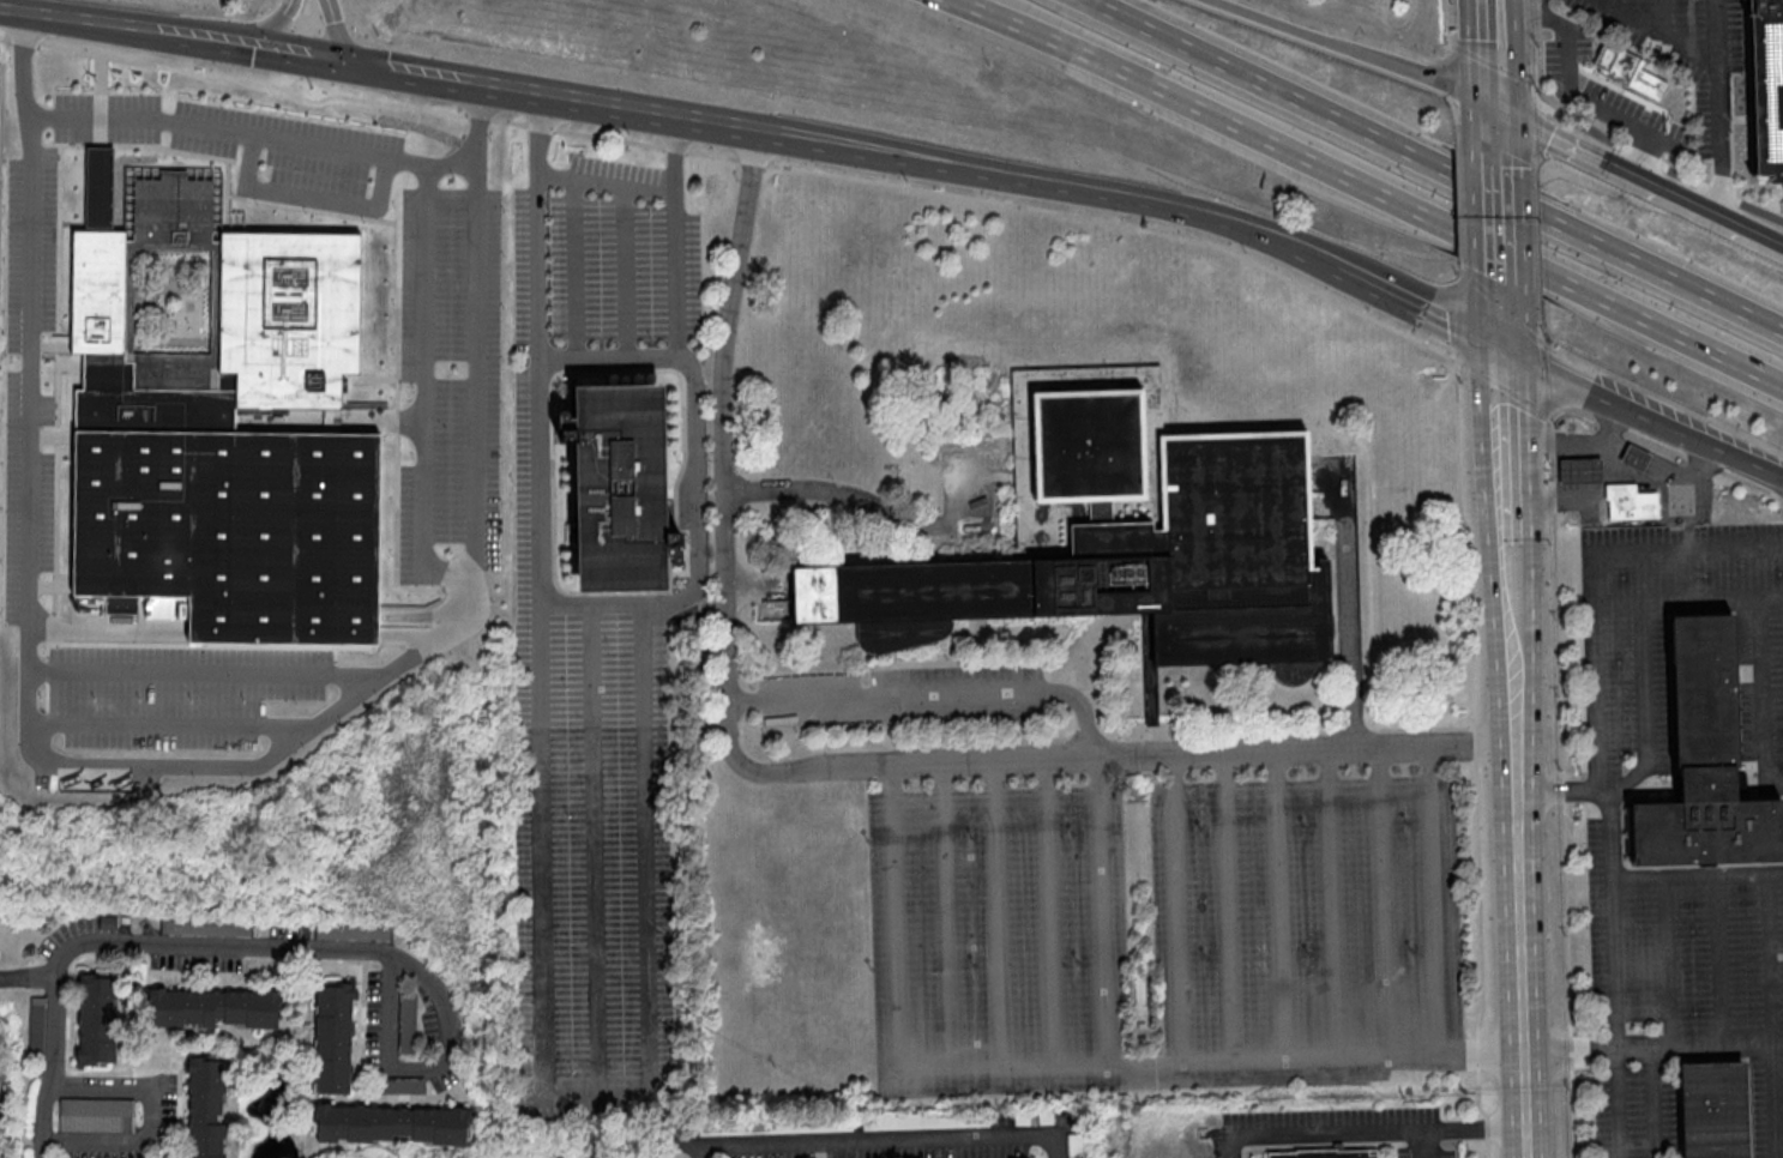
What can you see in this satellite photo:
road: (1609, 2)
road: (1494, 7)
road: (1662, 17)
road: (281, 29)
road: (1659, 32)
road: (132, 36)
road: (336, 36)
road: (1353, 50)
road: (1496, 56)
traffic signals: (264, 59)
road: (305, 65)
building: (1619, 65)
traffic signals: (347, 72)
road: (1571, 78)
road: (399, 79)
building: (1766, 89)
traffic signals: (1498, 98)
road: (1722, 105)
road: (607, 108)
road: (1498, 127)
road: (1561, 133)
road: (265, 147)
road: (114, 149)
road: (1643, 150)
parking lot: (258, 156)
road: (1436, 164)
road: (607, 180)
road: (1659, 180)
road: (1050, 185)
road: (1365, 189)
road: (324, 211)
road: (1736, 217)
road: (1500, 231)
road: (1417, 304)
road: (1501, 327)
traffic signals: (1502, 348)
road: (610, 357)
parking lot: (464, 399)
parking lot: (48, 405)
road: (439, 405)
road: (1642, 414)
building: (562, 416)
road: (1506, 439)
building: (239, 451)
building: (1637, 459)
building: (1583, 474)
road: (875, 503)
building: (1632, 503)
building: (630, 535)
building: (1125, 536)
road: (1589, 574)
road: (1686, 601)
road: (1349, 610)
parking lot: (602, 619)
road: (1514, 635)
road: (212, 687)
road: (933, 690)
road: (1761, 699)
road: (1646, 714)
road: (182, 738)
road: (1475, 753)
building: (1705, 762)
road: (1519, 766)
road: (811, 771)
road: (185, 777)
road: (1558, 789)
road: (1564, 790)
road: (1698, 876)
road: (1434, 899)
road: (1175, 907)
road: (1102, 910)
road: (1049, 911)
road: (996, 912)
road: (948, 915)
parking lot: (1165, 933)
road: (120, 943)
road: (1722, 960)
road: (1667, 963)
road: (1523, 973)
road: (1616, 973)
road: (26, 977)
building: (1142, 985)
building: (215, 1007)
road: (1775, 1015)
building: (97, 1019)
building: (333, 1037)
road: (1654, 1048)
road: (1067, 1062)
road: (429, 1064)
road: (613, 1093)
road: (1654, 1103)
building: (207, 1106)
building: (1715, 1109)
building: (97, 1115)
building: (1047, 1115)
road: (151, 1117)
building: (1022, 1118)
building: (392, 1124)
road: (1480, 1127)
road: (1338, 1132)
road: (886, 1140)
building: (1326, 1153)

